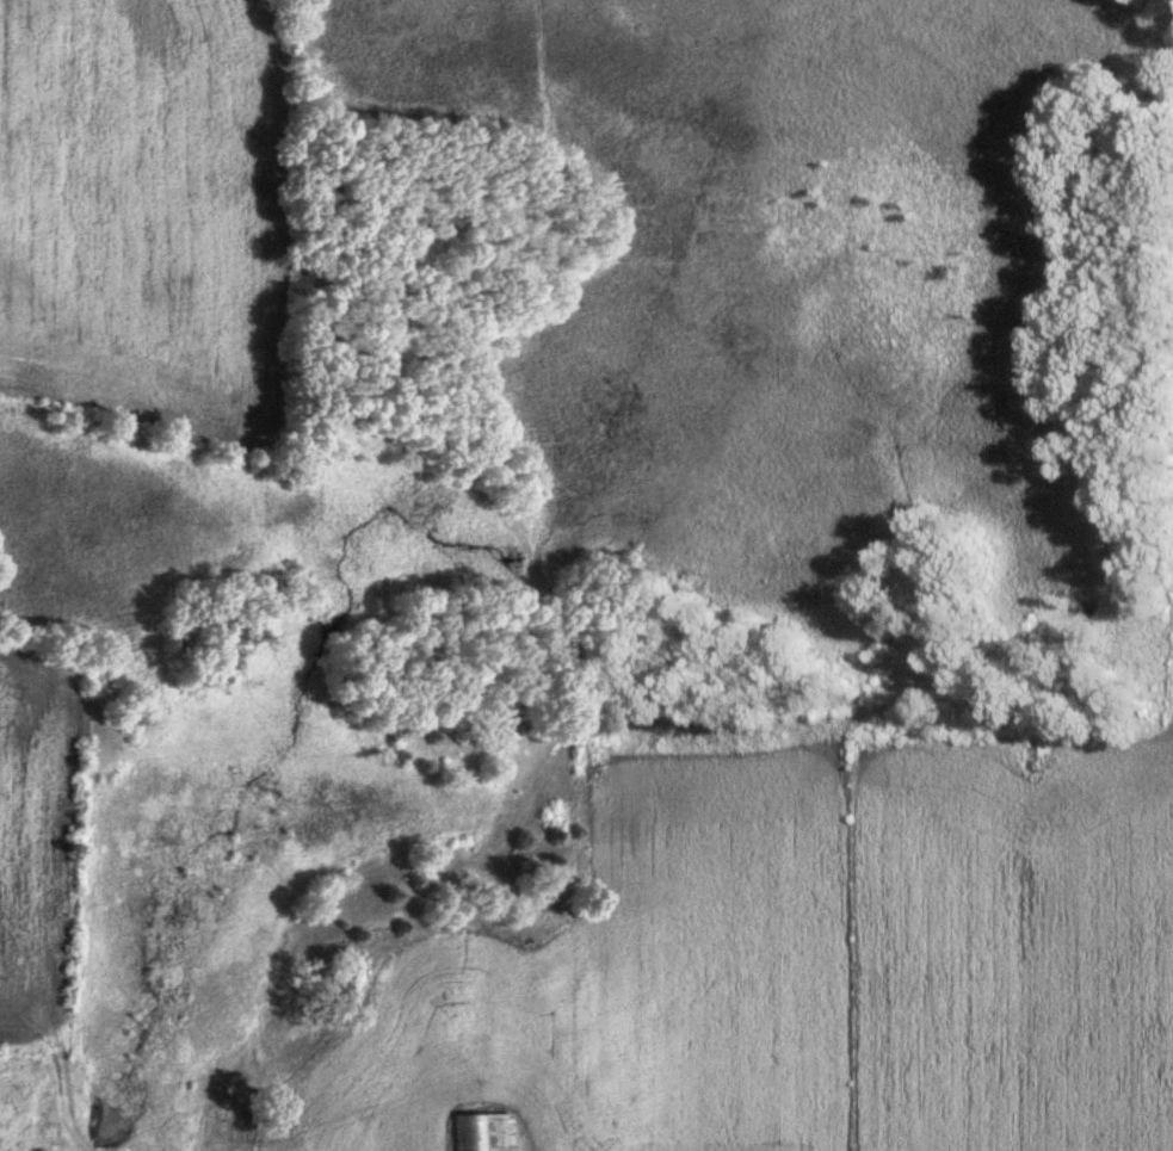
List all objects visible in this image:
building: (482, 1132)

